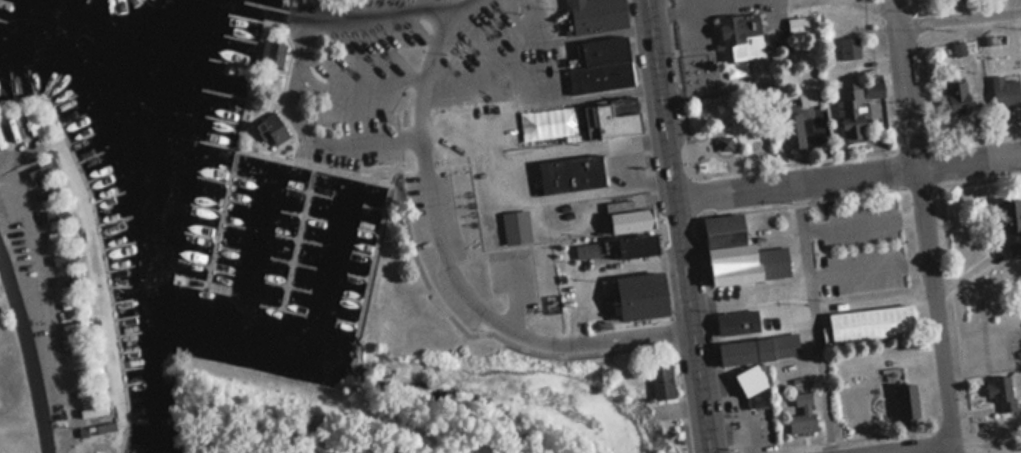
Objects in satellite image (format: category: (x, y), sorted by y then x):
road: (885, 2)
road: (708, 7)
road: (363, 14)
building: (596, 15)
road: (961, 18)
building: (740, 36)
river: (119, 45)
building: (851, 48)
road: (699, 49)
building: (959, 49)
building: (272, 53)
building: (601, 66)
parking lot: (365, 80)
road: (359, 83)
parking lot: (504, 85)
building: (874, 90)
building: (1006, 92)
building: (956, 97)
building: (615, 118)
building: (800, 121)
building: (851, 121)
building: (273, 128)
road: (305, 129)
park: (735, 130)
road: (737, 135)
road: (764, 136)
road: (974, 139)
building: (724, 142)
building: (566, 165)
building: (39, 169)
road: (709, 175)
road: (849, 176)
road: (982, 180)
building: (46, 190)
building: (57, 211)
building: (1008, 214)
pier: (222, 217)
building: (628, 220)
road: (865, 224)
road: (663, 226)
road: (681, 226)
road: (928, 226)
building: (516, 227)
building: (721, 229)
building: (59, 234)
pier: (299, 236)
building: (635, 245)
parking lot: (862, 245)
building: (1012, 253)
parking lot: (436, 254)
building: (64, 258)
road: (451, 262)
building: (745, 263)
road: (871, 268)
building: (70, 278)
parking lot: (514, 278)
pier: (202, 284)
road: (751, 292)
building: (638, 302)
building: (75, 303)
road: (957, 308)
road: (814, 318)
building: (736, 320)
building: (81, 323)
building: (871, 323)
road: (37, 335)
building: (84, 349)
building: (757, 349)
building: (88, 371)
building: (749, 379)
building: (661, 380)
building: (1001, 391)
building: (92, 392)
building: (757, 393)
building: (906, 403)
building: (91, 411)
building: (802, 414)
building: (97, 426)
road: (988, 441)
road: (929, 449)
road: (444, 450)

